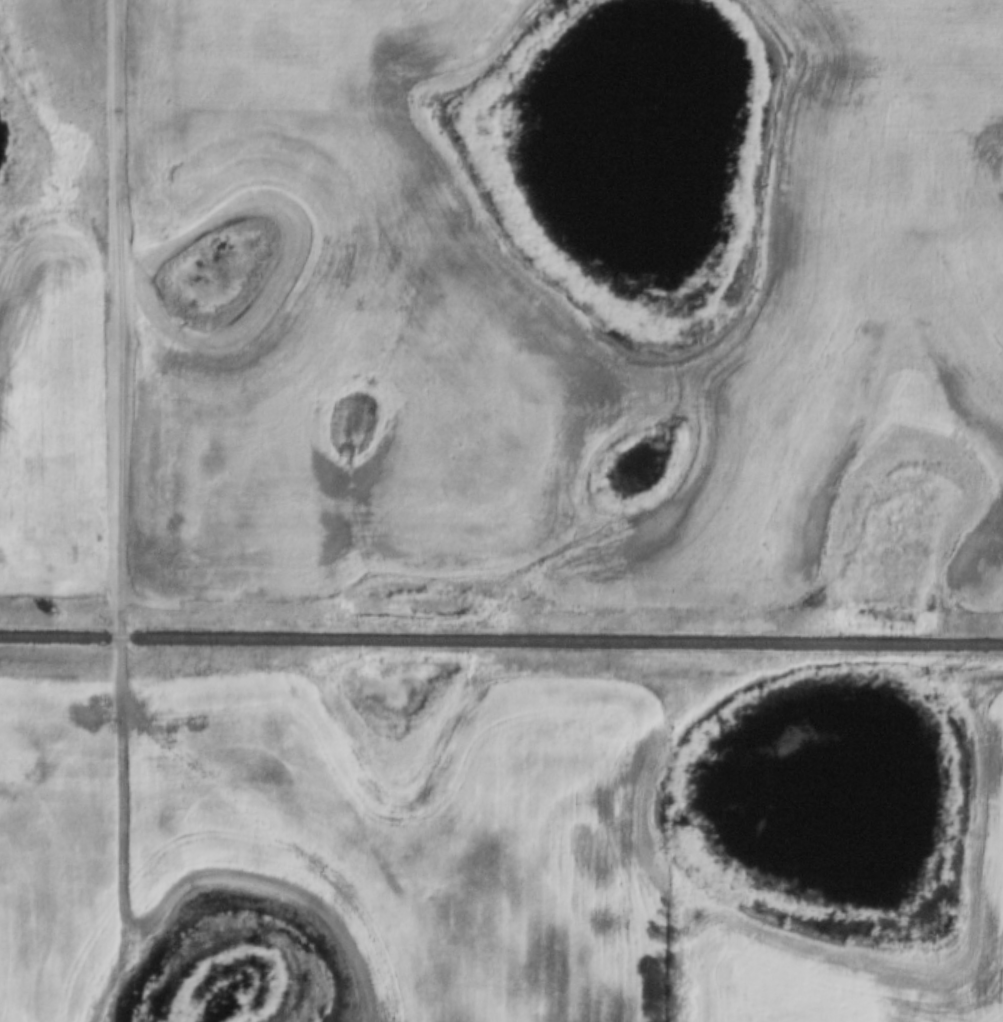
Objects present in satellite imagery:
road: (120, 583)
railway: (501, 640)

